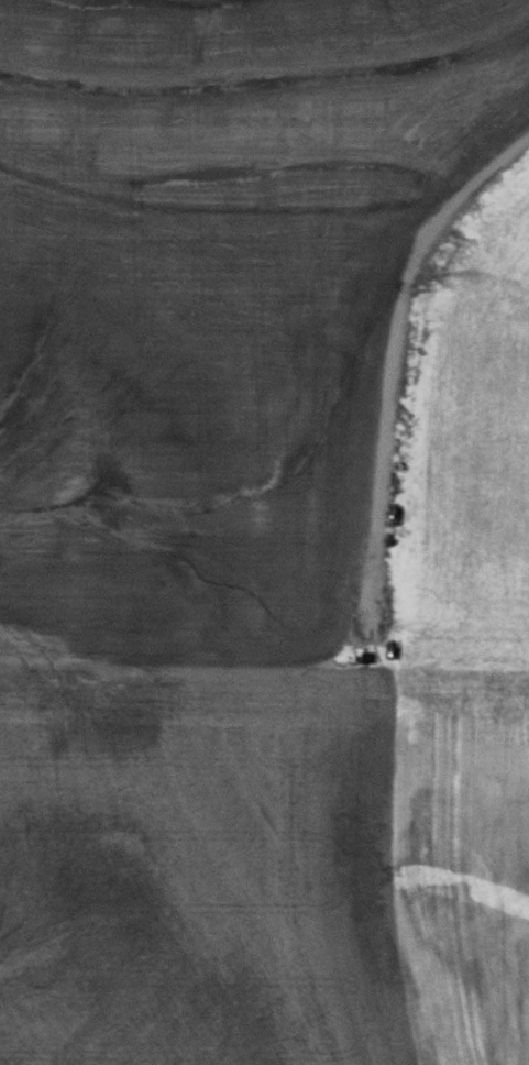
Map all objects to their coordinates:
crop: (230, 305)

